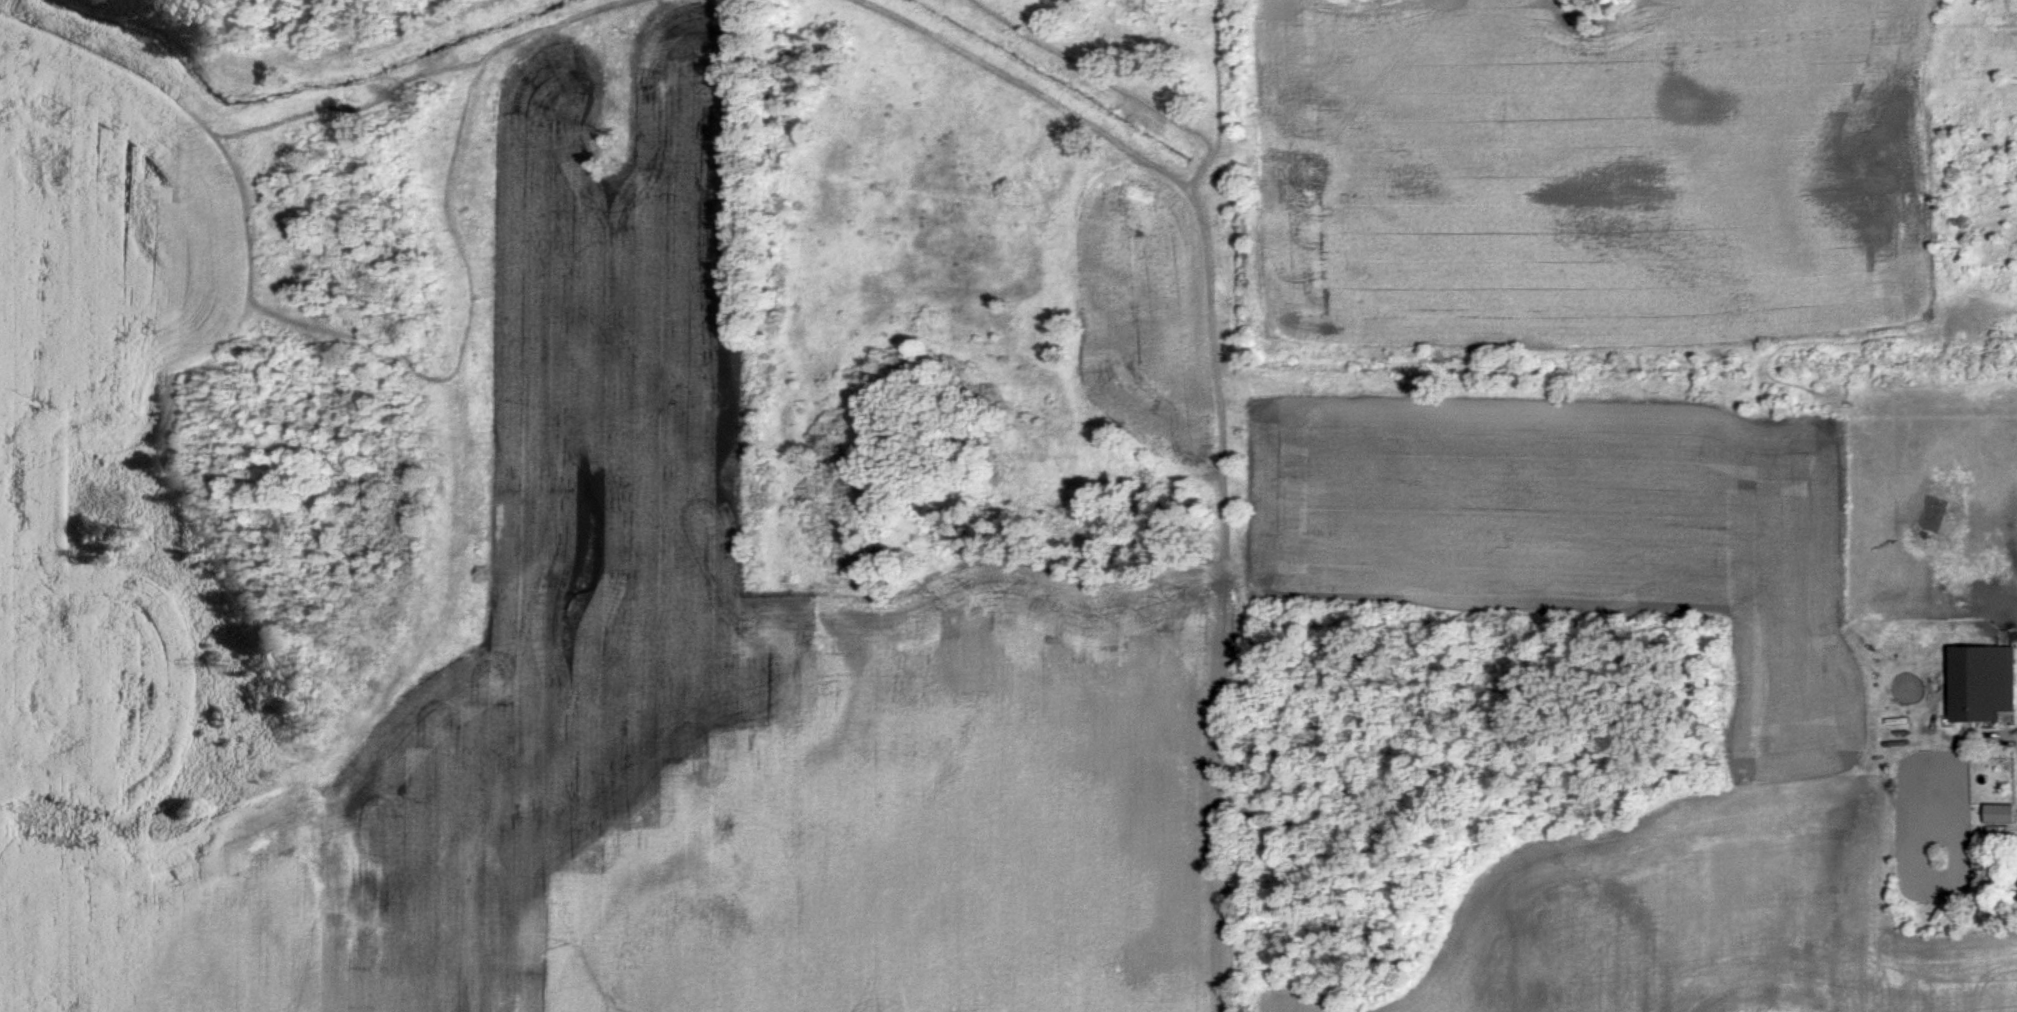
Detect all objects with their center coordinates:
building: (1981, 682)
road: (2015, 728)
building: (1999, 812)

